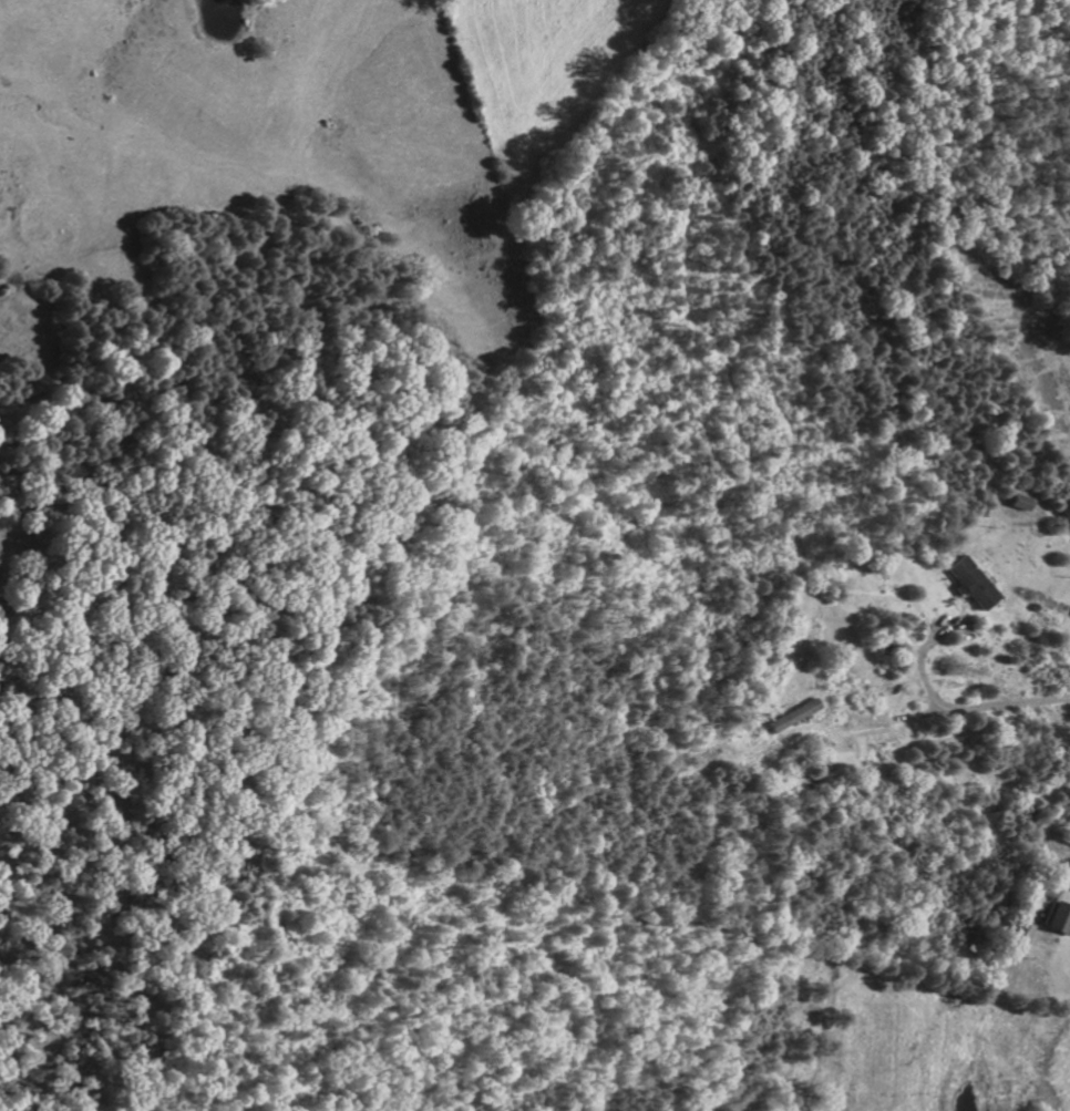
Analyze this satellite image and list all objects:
building: (1017, 501)
building: (970, 583)
building: (1058, 918)
building: (1010, 1092)

